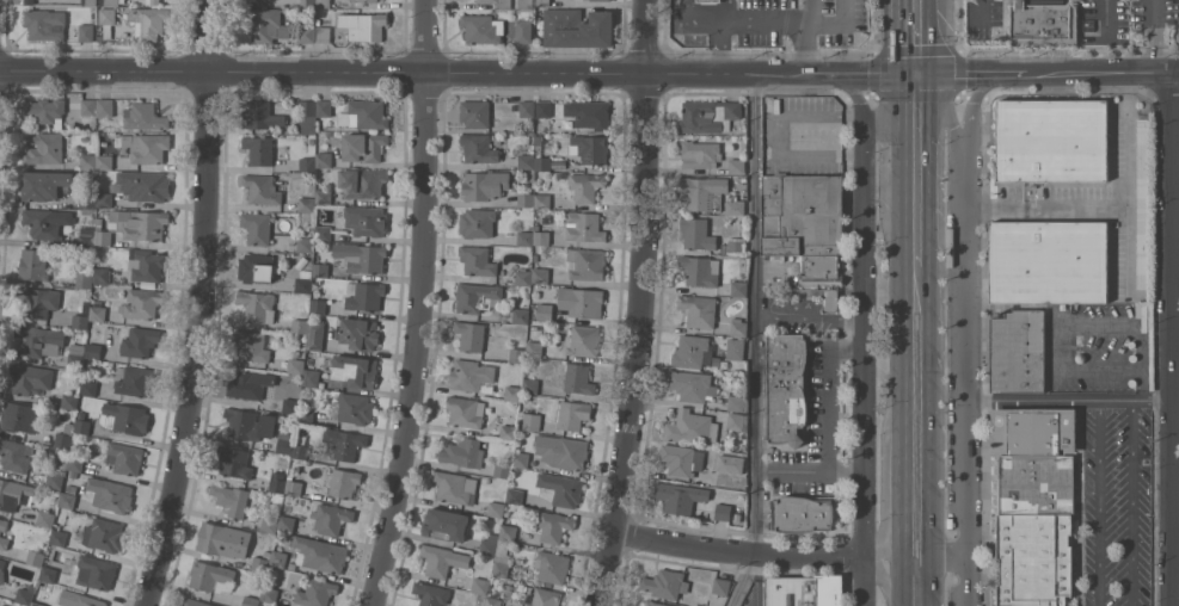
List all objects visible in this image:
building: (252, 0)
building: (364, 0)
building: (710, 0)
building: (29, 1)
building: (155, 1)
building: (542, 1)
building: (88, 2)
building: (109, 2)
building: (307, 2)
building: (324, 4)
building: (524, 4)
building: (505, 5)
road: (1109, 11)
road: (810, 12)
building: (106, 19)
building: (149, 20)
building: (318, 20)
building: (1043, 21)
building: (44, 24)
building: (265, 24)
road: (764, 24)
building: (362, 25)
building: (481, 27)
building: (578, 27)
building: (523, 30)
building: (86, 32)
building: (307, 33)
building: (324, 33)
road: (1157, 36)
road: (919, 37)
road: (808, 49)
road: (419, 72)
road: (879, 74)
road: (1049, 74)
traffic signals: (919, 75)
building: (88, 106)
building: (105, 106)
building: (324, 107)
building: (527, 107)
building: (544, 107)
road: (894, 109)
building: (45, 110)
building: (260, 113)
building: (364, 113)
building: (477, 113)
building: (589, 113)
building: (708, 115)
building: (145, 116)
building: (306, 116)
road: (942, 116)
building: (540, 138)
building: (1052, 138)
building: (497, 140)
road: (1175, 143)
building: (146, 146)
building: (363, 146)
building: (44, 148)
building: (479, 148)
building: (590, 148)
building: (259, 149)
building: (700, 153)
building: (324, 159)
building: (105, 160)
building: (527, 160)
building: (88, 161)
building: (542, 162)
building: (307, 163)
building: (737, 166)
road: (919, 179)
building: (362, 183)
building: (44, 184)
building: (484, 184)
building: (145, 185)
building: (585, 185)
building: (265, 187)
building: (704, 192)
building: (324, 196)
building: (88, 199)
building: (104, 199)
building: (526, 199)
building: (542, 200)
building: (1141, 203)
building: (307, 204)
building: (735, 204)
building: (319, 209)
road: (1116, 209)
building: (368, 221)
building: (47, 222)
building: (477, 222)
building: (140, 223)
building: (583, 225)
building: (257, 227)
building: (805, 228)
building: (323, 231)
building: (102, 233)
building: (696, 233)
building: (541, 236)
building: (87, 237)
building: (526, 237)
building: (305, 243)
building: (733, 245)
road: (1128, 252)
building: (361, 256)
building: (535, 256)
building: (477, 260)
building: (1049, 261)
building: (585, 262)
building: (33, 264)
building: (146, 264)
building: (256, 267)
building: (320, 270)
building: (699, 270)
building: (100, 274)
building: (541, 276)
building: (522, 277)
building: (84, 279)
building: (302, 284)
building: (738, 287)
building: (364, 296)
building: (475, 296)
building: (38, 299)
building: (581, 301)
building: (142, 303)
road: (643, 304)
road: (201, 305)
building: (257, 305)
building: (318, 305)
road: (418, 305)
building: (699, 309)
building: (545, 311)
road: (864, 311)
building: (98, 313)
building: (520, 315)
building: (82, 316)
road: (810, 317)
building: (300, 326)
building: (737, 326)
building: (360, 333)
building: (315, 335)
building: (471, 335)
road: (968, 336)
road: (1172, 339)
building: (38, 340)
building: (583, 340)
building: (140, 341)
road: (755, 341)
building: (253, 345)
building: (535, 348)
building: (733, 348)
building: (94, 351)
building: (693, 351)
building: (1018, 351)
building: (517, 354)
building: (75, 355)
building: (90, 363)
building: (296, 365)
building: (355, 370)
building: (311, 372)
building: (29, 378)
building: (472, 378)
building: (578, 378)
building: (135, 381)
building: (250, 384)
building: (692, 384)
building: (532, 385)
building: (511, 387)
building: (787, 388)
building: (88, 389)
building: (278, 390)
road: (1070, 400)
building: (69, 401)
building: (735, 401)
building: (290, 402)
building: (352, 408)
building: (466, 410)
building: (81, 414)
building: (572, 414)
building: (306, 415)
building: (19, 416)
building: (124, 418)
building: (735, 420)
building: (532, 421)
building: (248, 423)
building: (82, 426)
building: (508, 426)
building: (692, 428)
road: (829, 428)
building: (1033, 429)
building: (65, 435)
building: (284, 441)
building: (345, 443)
road: (917, 445)
building: (561, 450)
building: (770, 450)
building: (59, 451)
building: (300, 451)
building: (463, 452)
building: (14, 455)
building: (125, 457)
building: (682, 458)
building: (522, 459)
building: (65, 460)
building: (234, 462)
building: (75, 463)
building: (730, 463)
building: (502, 470)
building: (73, 474)
building: (55, 478)
building: (277, 482)
building: (344, 482)
building: (1037, 484)
building: (294, 487)
building: (455, 487)
building: (70, 488)
building: (561, 488)
building: (56, 491)
building: (14, 494)
building: (111, 494)
building: (516, 496)
building: (680, 496)
building: (231, 499)
building: (68, 500)
road: (1099, 502)
road: (1132, 503)
building: (496, 508)
building: (723, 511)
building: (803, 513)
road: (896, 515)
building: (45, 518)
building: (331, 518)
building: (287, 522)
building: (2, 524)
building: (269, 524)
building: (446, 524)
building: (554, 525)
road: (1175, 530)
building: (509, 532)
building: (104, 534)
building: (60, 537)
building: (223, 539)
building: (2, 542)
building: (490, 544)
road: (737, 551)
building: (321, 552)
building: (35, 557)
road: (942, 557)
building: (278, 558)
building: (502, 558)
building: (436, 559)
building: (1034, 559)
building: (260, 563)
building: (552, 565)
building: (1, 571)
building: (96, 571)
building: (49, 574)
building: (211, 576)
building: (479, 579)
road: (880, 580)
road: (864, 581)
building: (665, 583)
building: (720, 585)
building: (521, 587)
building: (805, 590)
building: (317, 592)
building: (270, 593)
building: (26, 594)
building: (431, 594)
building: (540, 598)
building: (250, 600)
building: (88, 601)
building: (493, 601)
building: (195, 602)
building: (656, 602)
building: (37, 604)
building: (509, 605)
building: (638, 605)

